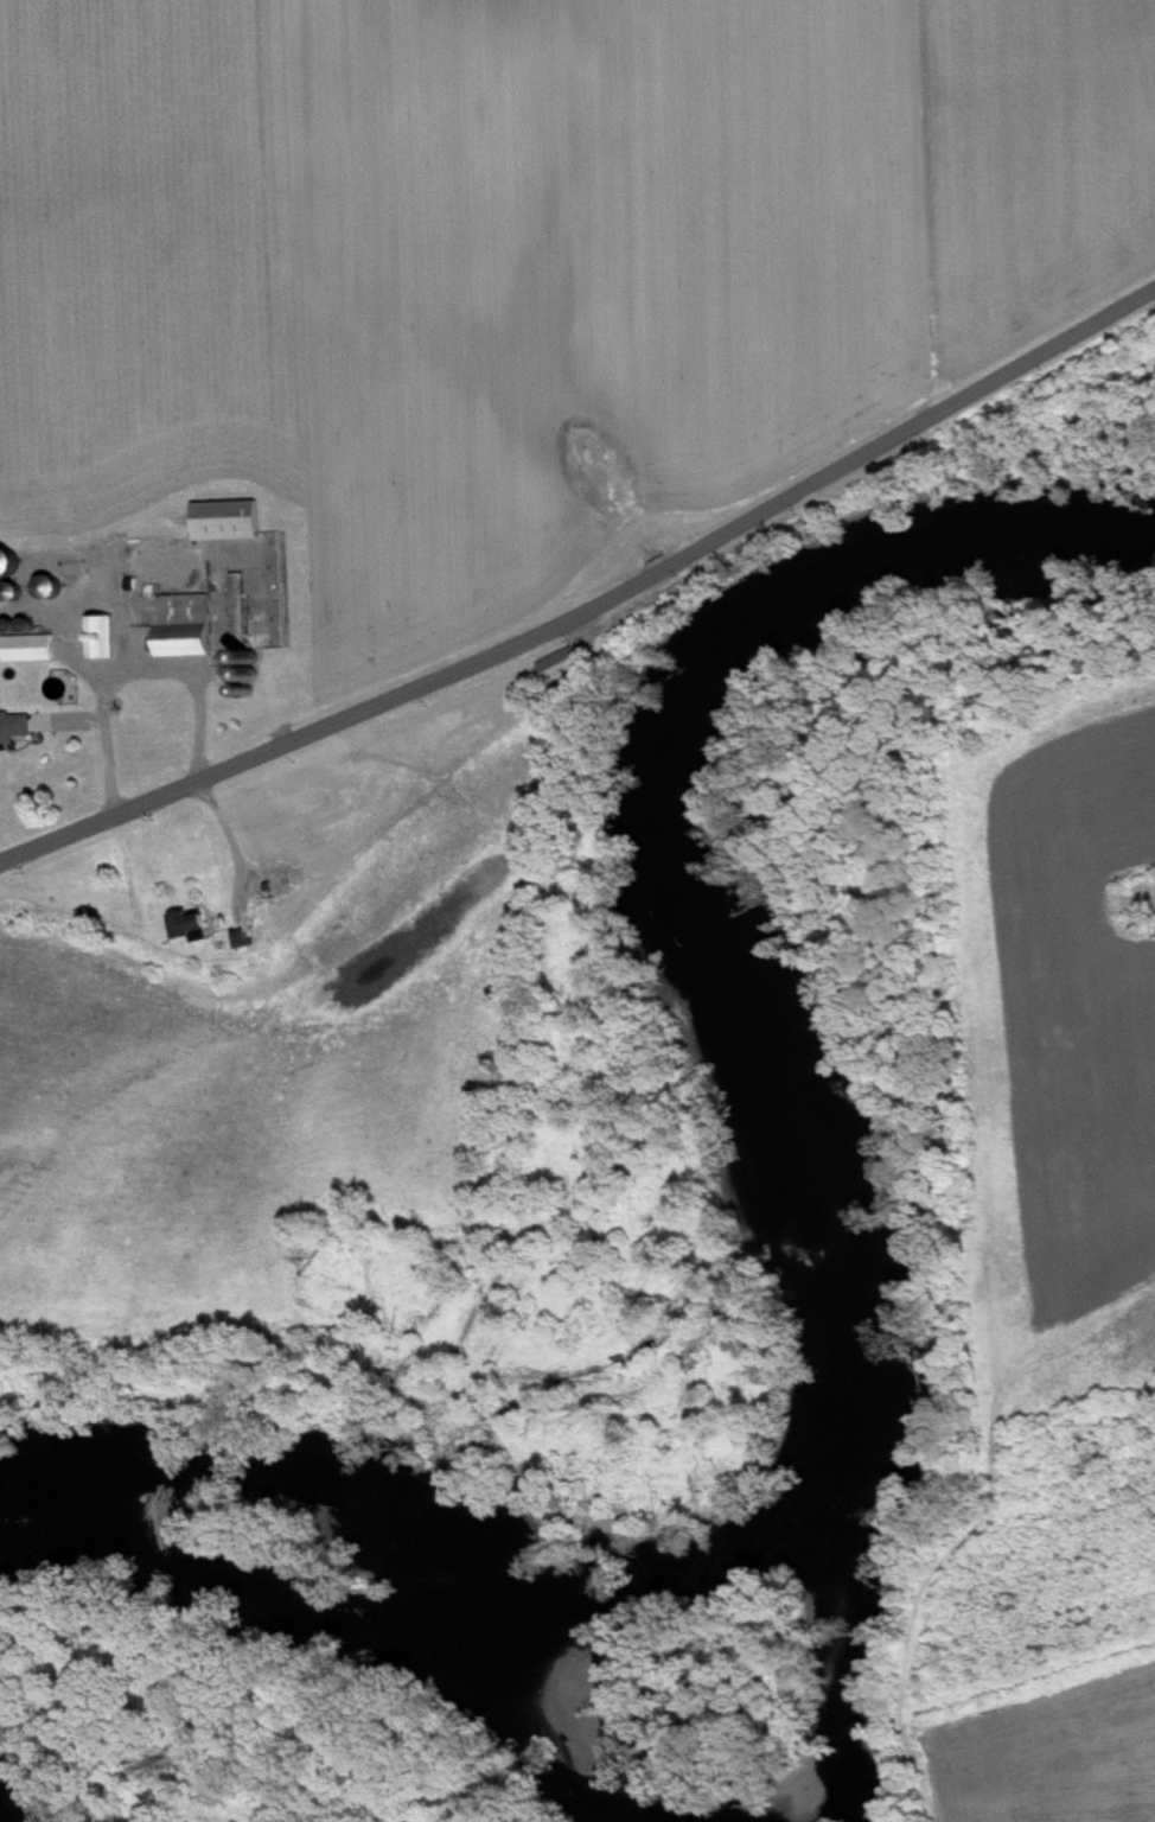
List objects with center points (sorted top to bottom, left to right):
building: (231, 529)
building: (12, 571)
road: (594, 607)
road: (62, 629)
building: (191, 633)
building: (106, 645)
building: (244, 646)
building: (33, 656)
building: (567, 673)
road: (130, 675)
building: (17, 734)
road: (226, 840)
building: (197, 935)
building: (247, 947)
river: (856, 1288)

